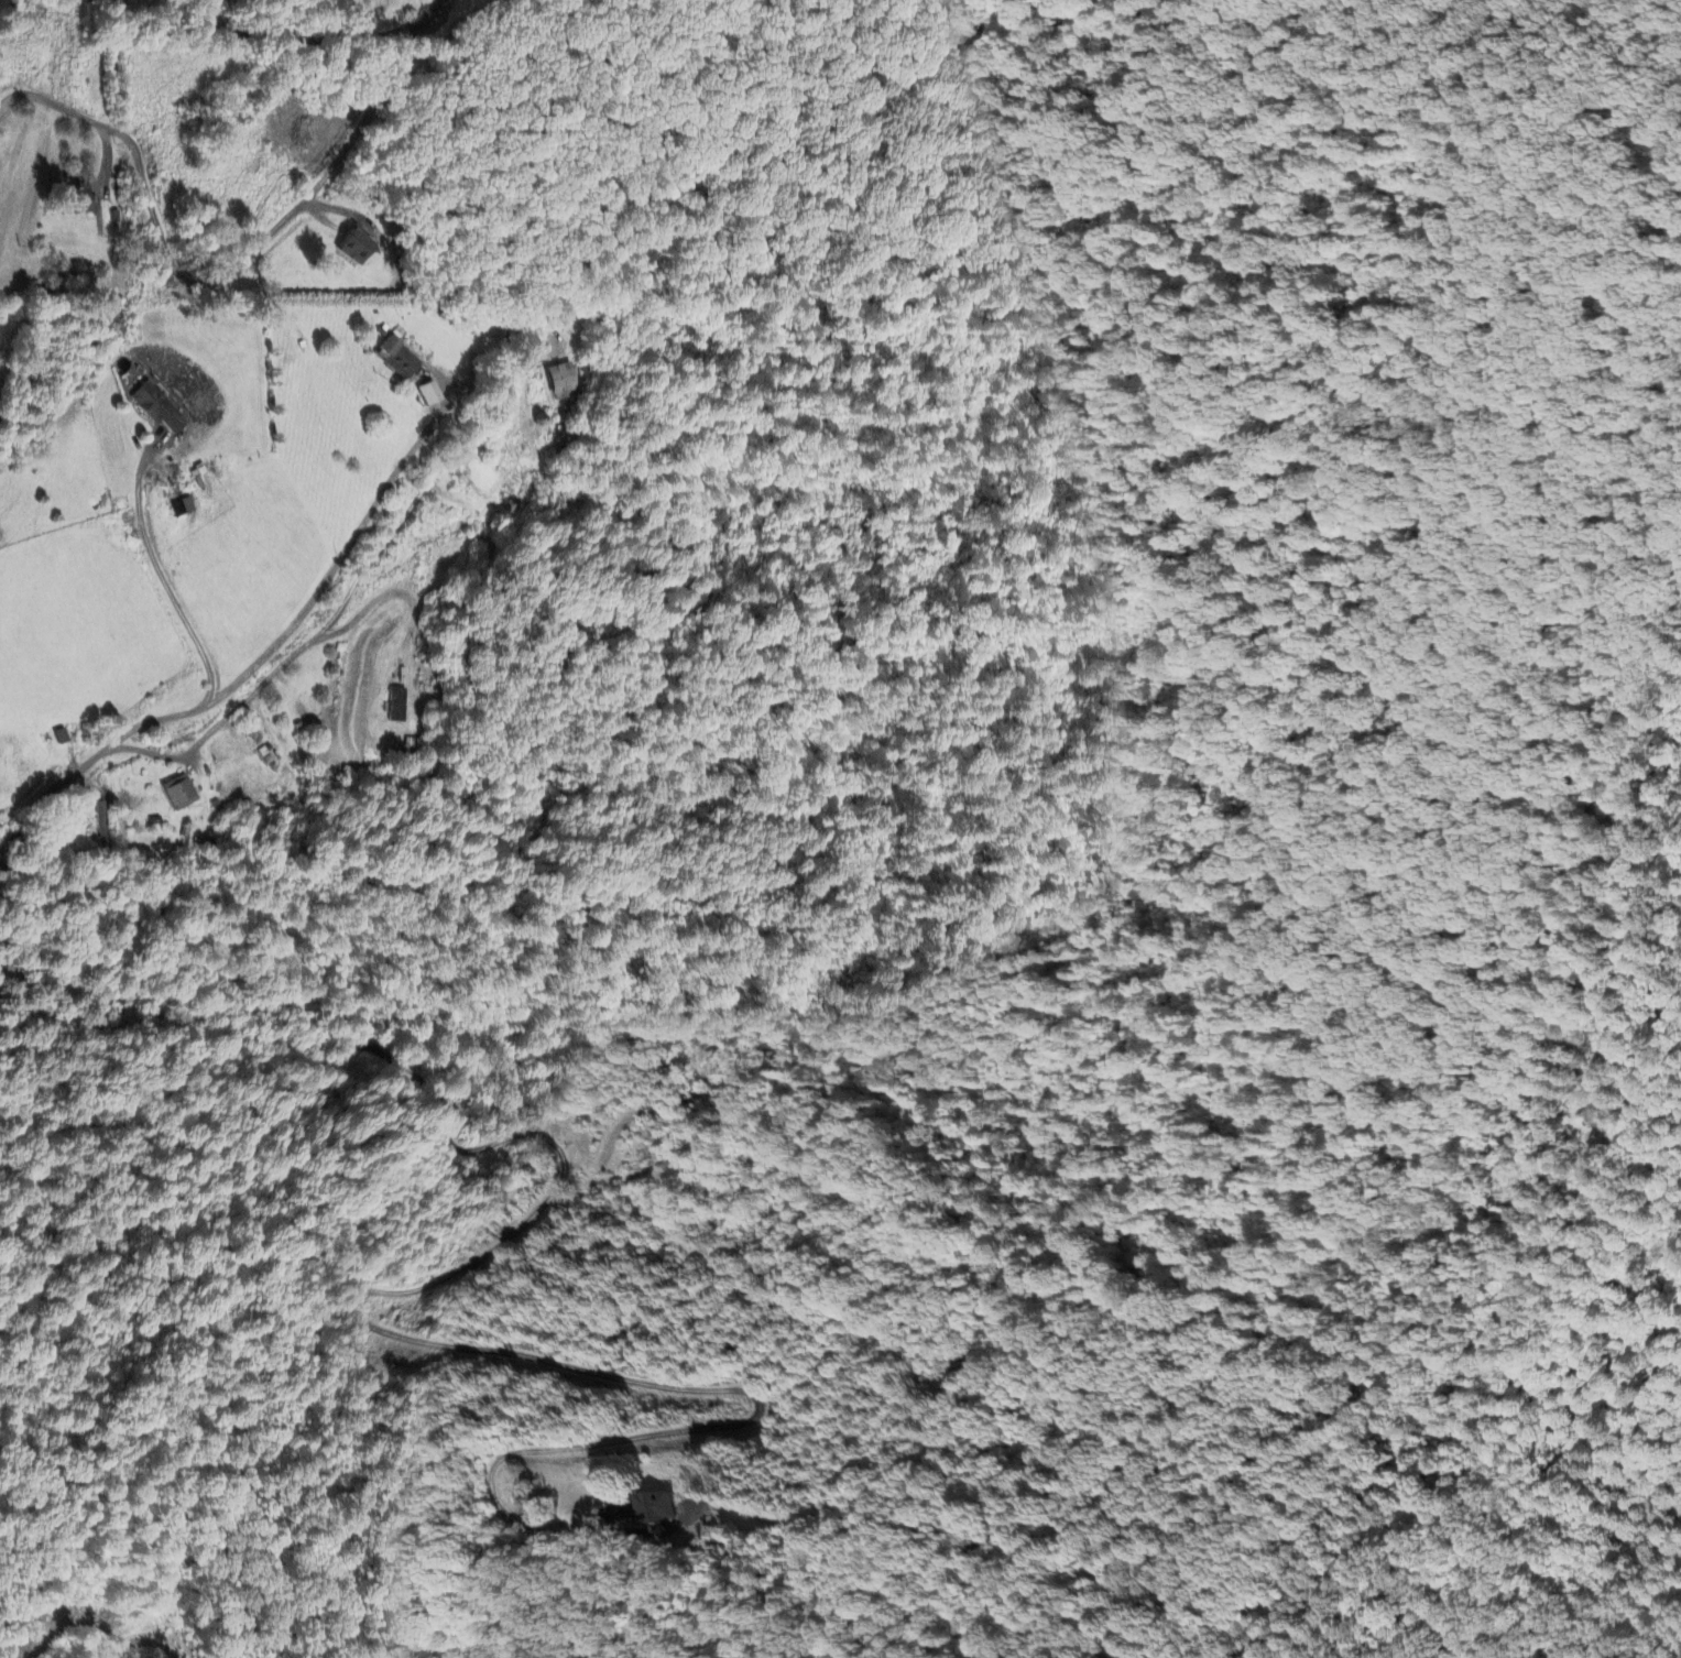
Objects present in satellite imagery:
building: (79, 200)
building: (356, 246)
road: (207, 279)
building: (397, 358)
building: (427, 393)
building: (159, 407)
building: (183, 508)
road: (162, 576)
road: (287, 662)
road: (238, 677)
building: (399, 705)
building: (181, 793)
building: (101, 826)
building: (658, 1508)
road: (139, 1641)

